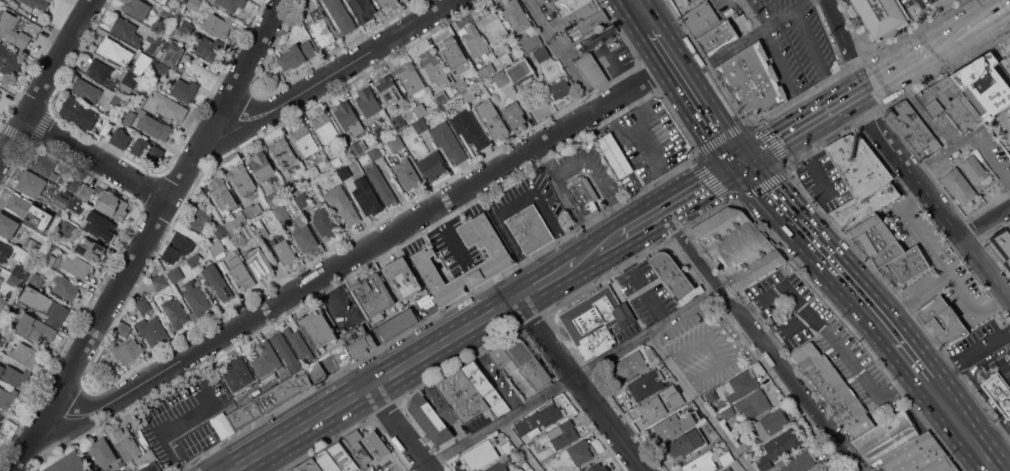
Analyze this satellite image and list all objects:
building: (159, 0)
building: (692, 0)
building: (704, 0)
building: (184, 1)
building: (388, 3)
building: (35, 4)
building: (194, 4)
building: (232, 5)
building: (137, 8)
building: (363, 9)
building: (573, 13)
road: (647, 14)
building: (341, 15)
road: (753, 15)
building: (881, 15)
building: (517, 17)
building: (701, 17)
building: (218, 24)
building: (592, 24)
road: (972, 24)
building: (494, 26)
building: (321, 27)
building: (186, 28)
building: (13, 30)
building: (570, 30)
building: (126, 31)
building: (156, 36)
building: (718, 37)
building: (595, 39)
road: (750, 39)
building: (473, 40)
building: (529, 41)
road: (844, 44)
building: (209, 47)
building: (112, 49)
building: (453, 53)
building: (542, 53)
building: (173, 54)
building: (297, 54)
building: (1003, 54)
road: (561, 55)
building: (507, 56)
road: (817, 56)
building: (9, 59)
building: (144, 59)
building: (432, 66)
road: (329, 67)
road: (896, 67)
building: (162, 69)
building: (140, 70)
building: (486, 70)
building: (593, 70)
building: (100, 72)
building: (522, 72)
road: (784, 77)
building: (411, 78)
building: (501, 78)
road: (46, 79)
building: (752, 79)
building: (128, 81)
building: (462, 84)
building: (983, 85)
building: (185, 89)
building: (389, 89)
building: (560, 89)
building: (86, 90)
road: (701, 94)
building: (444, 95)
building: (469, 95)
road: (849, 96)
building: (139, 98)
building: (117, 99)
building: (368, 101)
building: (930, 102)
building: (956, 103)
road: (866, 104)
building: (170, 106)
road: (921, 109)
building: (1008, 109)
building: (420, 110)
building: (79, 112)
building: (114, 112)
road: (822, 113)
building: (514, 114)
building: (127, 117)
building: (348, 117)
building: (492, 118)
building: (399, 121)
building: (420, 125)
building: (154, 126)
road: (637, 127)
road: (798, 127)
building: (326, 128)
building: (469, 128)
building: (913, 128)
building: (379, 133)
building: (120, 138)
building: (305, 140)
building: (448, 141)
building: (396, 143)
building: (139, 146)
building: (356, 146)
road: (768, 146)
road: (941, 152)
building: (284, 153)
building: (375, 153)
building: (155, 154)
building: (615, 154)
road: (992, 159)
building: (335, 161)
traffic signals: (745, 161)
road: (547, 162)
road: (93, 163)
building: (44, 164)
building: (431, 165)
building: (263, 167)
road: (569, 167)
building: (973, 168)
building: (344, 172)
building: (407, 173)
road: (821, 177)
building: (241, 179)
building: (860, 179)
building: (73, 183)
building: (30, 184)
building: (382, 185)
road: (766, 185)
building: (958, 185)
road: (703, 186)
building: (86, 192)
building: (221, 193)
road: (831, 193)
building: (366, 194)
building: (584, 195)
building: (274, 196)
building: (65, 198)
building: (302, 199)
road: (515, 202)
building: (342, 203)
building: (113, 204)
building: (22, 205)
building: (77, 205)
building: (253, 209)
road: (940, 209)
building: (282, 213)
building: (199, 219)
building: (235, 219)
building: (324, 221)
road: (644, 221)
road: (986, 222)
building: (44, 224)
building: (8, 225)
building: (100, 226)
building: (67, 227)
building: (254, 229)
building: (530, 229)
road: (149, 234)
building: (304, 234)
road: (447, 234)
building: (879, 239)
road: (612, 241)
building: (1001, 245)
building: (737, 246)
building: (32, 247)
building: (180, 247)
building: (217, 247)
building: (90, 248)
building: (283, 248)
building: (5, 252)
road: (356, 254)
building: (48, 258)
building: (500, 259)
building: (195, 260)
building: (235, 260)
building: (259, 262)
building: (910, 264)
building: (77, 266)
building: (0, 272)
road: (558, 273)
building: (17, 274)
building: (175, 274)
building: (242, 276)
building: (401, 277)
building: (36, 279)
building: (673, 280)
building: (160, 281)
building: (217, 281)
building: (66, 288)
building: (372, 294)
road: (334, 298)
building: (197, 299)
building: (425, 301)
building: (4, 302)
building: (44, 305)
building: (144, 306)
road: (763, 306)
road: (871, 307)
building: (176, 313)
building: (598, 321)
building: (942, 321)
building: (398, 323)
building: (0, 325)
building: (319, 327)
building: (35, 328)
building: (123, 329)
building: (152, 330)
road: (786, 330)
building: (5, 332)
road: (758, 341)
building: (299, 343)
building: (355, 345)
road: (713, 349)
building: (129, 351)
building: (651, 353)
building: (25, 354)
road: (971, 357)
building: (521, 361)
road: (851, 361)
building: (628, 365)
building: (318, 371)
building: (13, 374)
building: (238, 374)
road: (571, 379)
road: (974, 381)
road: (376, 383)
road: (585, 383)
building: (647, 384)
building: (742, 385)
building: (834, 387)
building: (486, 388)
building: (998, 392)
building: (462, 395)
building: (7, 396)
building: (710, 396)
building: (272, 397)
building: (676, 401)
road: (698, 402)
building: (441, 405)
building: (753, 405)
building: (653, 408)
building: (728, 413)
building: (1, 417)
building: (540, 418)
building: (430, 420)
building: (0, 423)
building: (770, 423)
building: (676, 425)
road: (404, 428)
road: (168, 429)
building: (563, 434)
building: (886, 437)
road: (976, 439)
road: (997, 439)
building: (749, 442)
building: (130, 443)
building: (687, 444)
building: (376, 445)
road: (524, 446)
building: (508, 447)
building: (778, 447)
building: (356, 448)
building: (103, 452)
building: (580, 452)
building: (480, 455)
building: (149, 456)
building: (920, 456)
building: (726, 457)
building: (336, 458)
building: (797, 461)
building: (71, 463)
building: (701, 463)
building: (499, 465)
building: (308, 466)
building: (520, 466)
road: (1005, 466)
building: (152, 467)
building: (49, 468)
building: (598, 468)
building: (726, 469)
building: (820, 470)
building: (824, 470)

